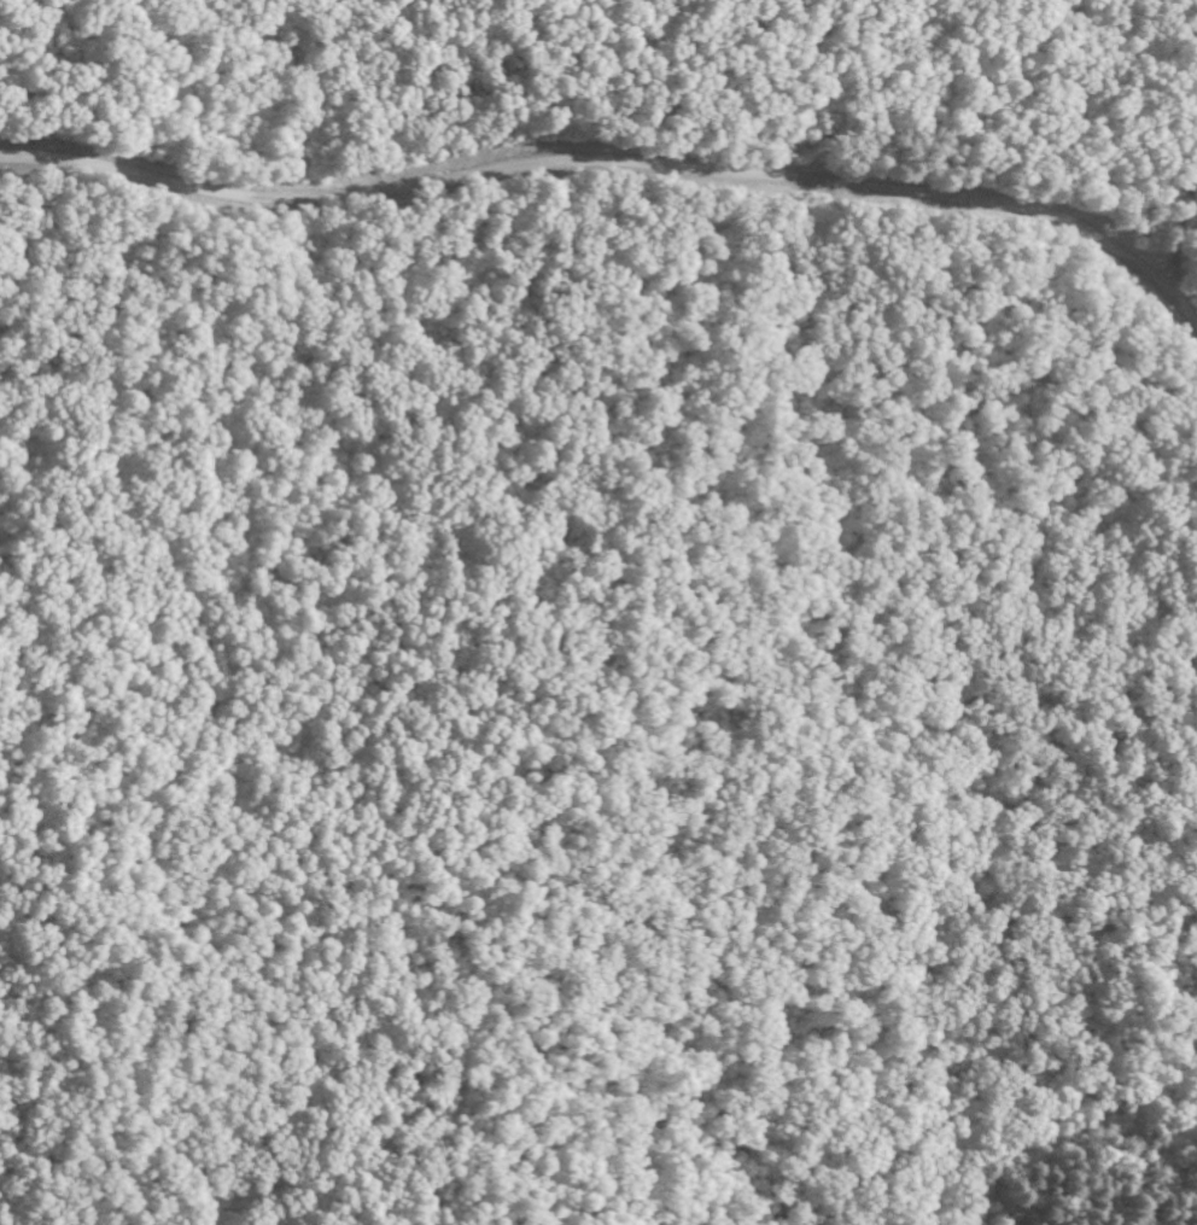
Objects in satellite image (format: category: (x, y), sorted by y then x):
road: (594, 163)
road: (1179, 234)
road: (1181, 305)
road: (500, 746)

